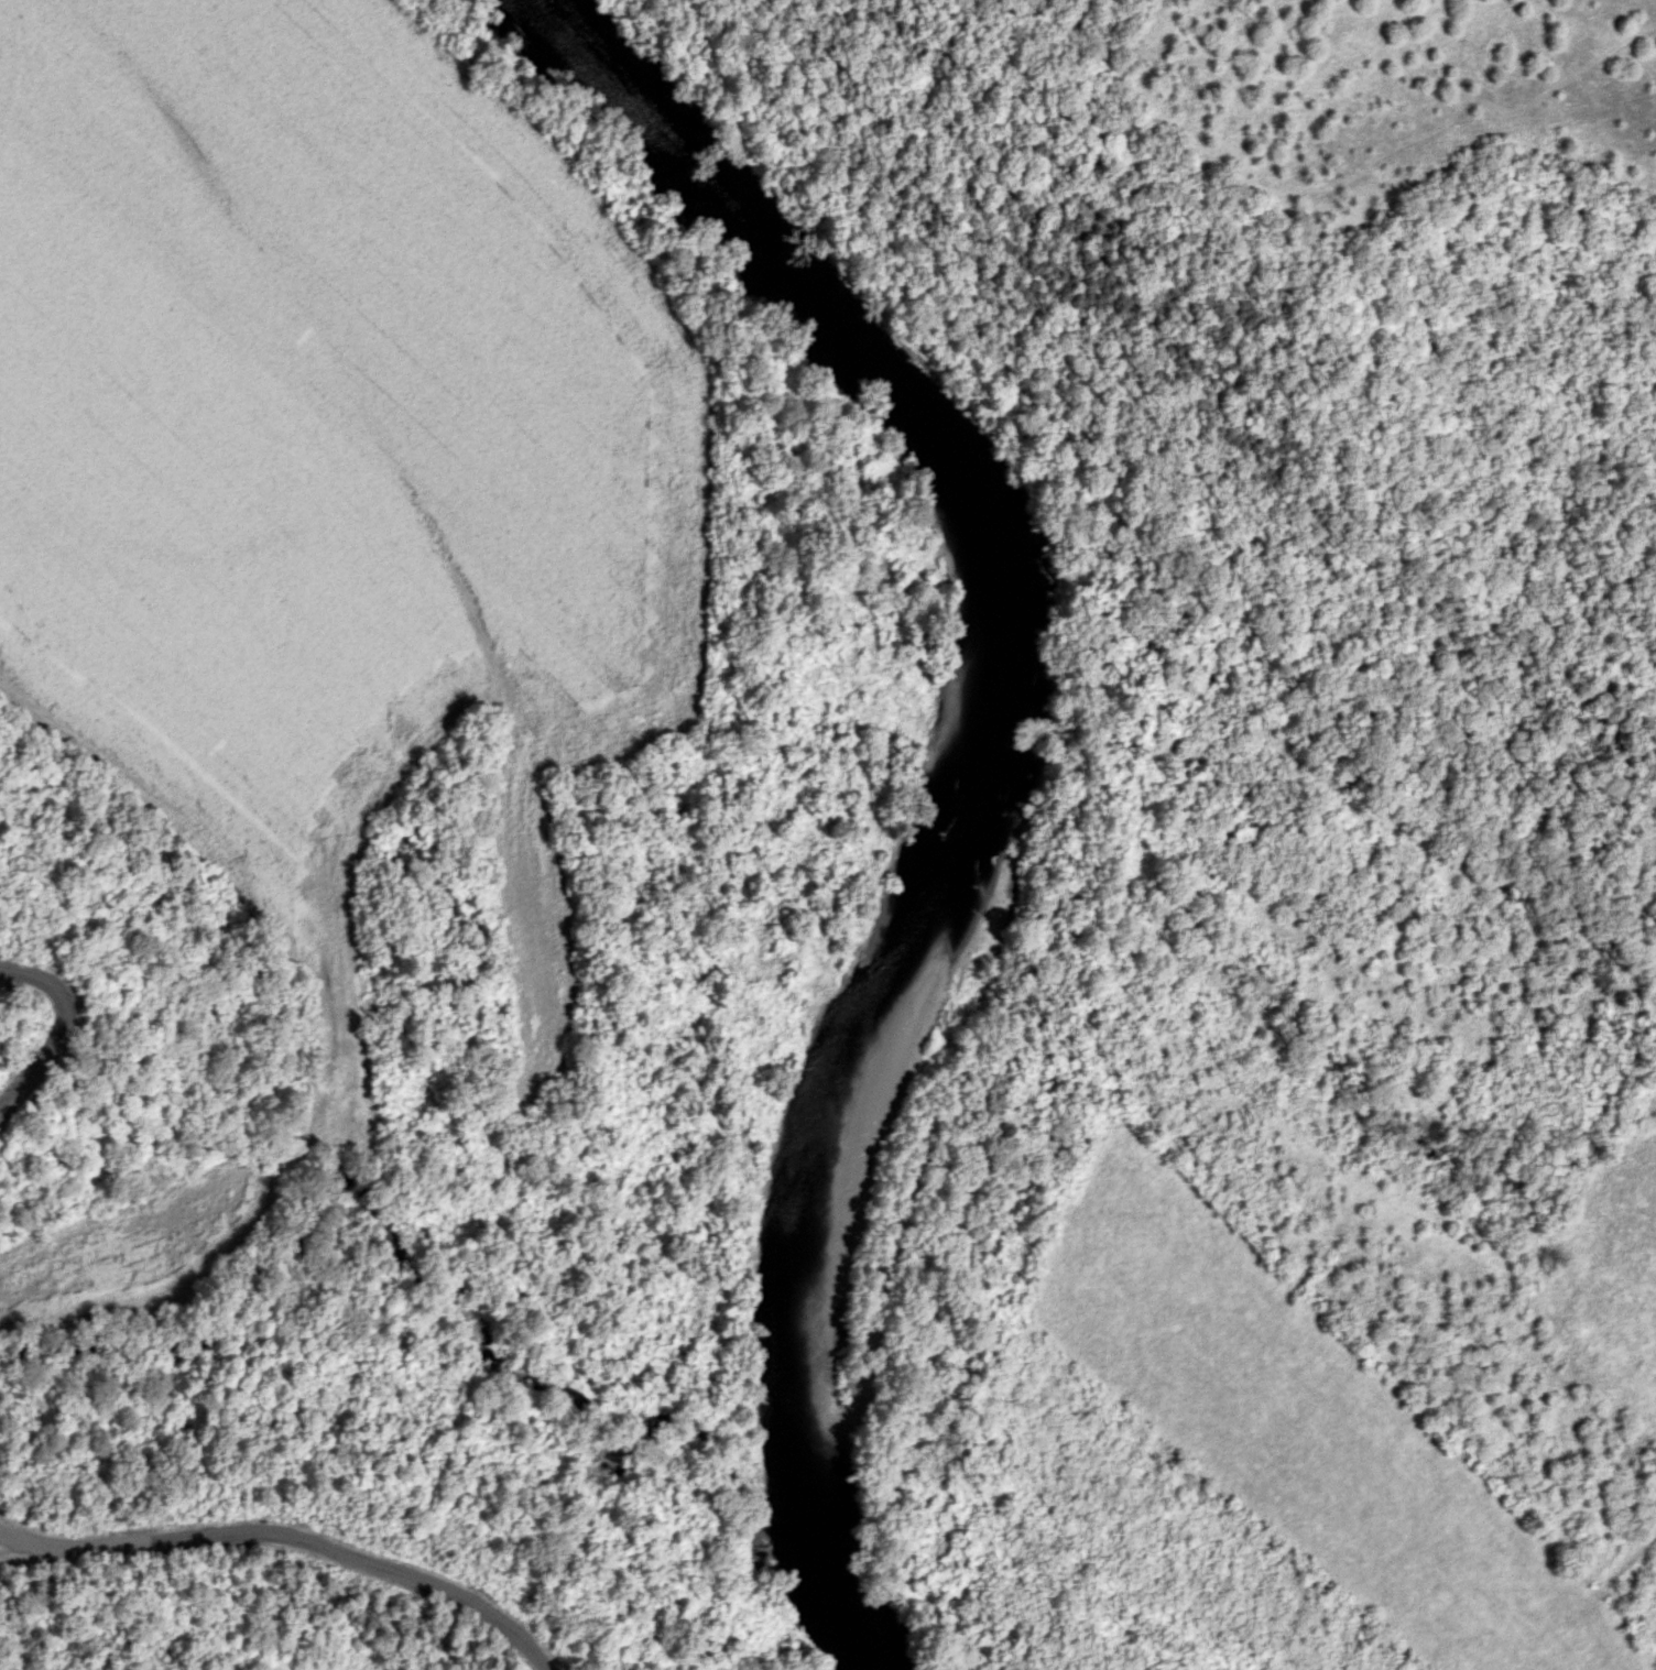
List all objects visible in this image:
river: (989, 768)
road: (1558, 784)
road: (62, 1028)
road: (295, 1557)

